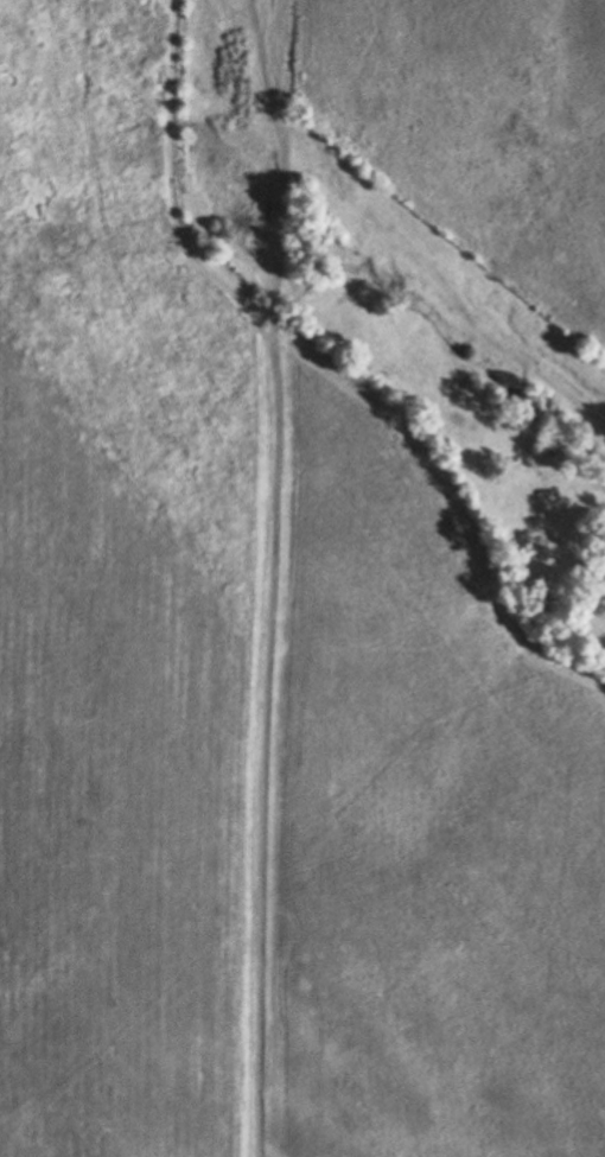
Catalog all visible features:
road: (265, 578)

